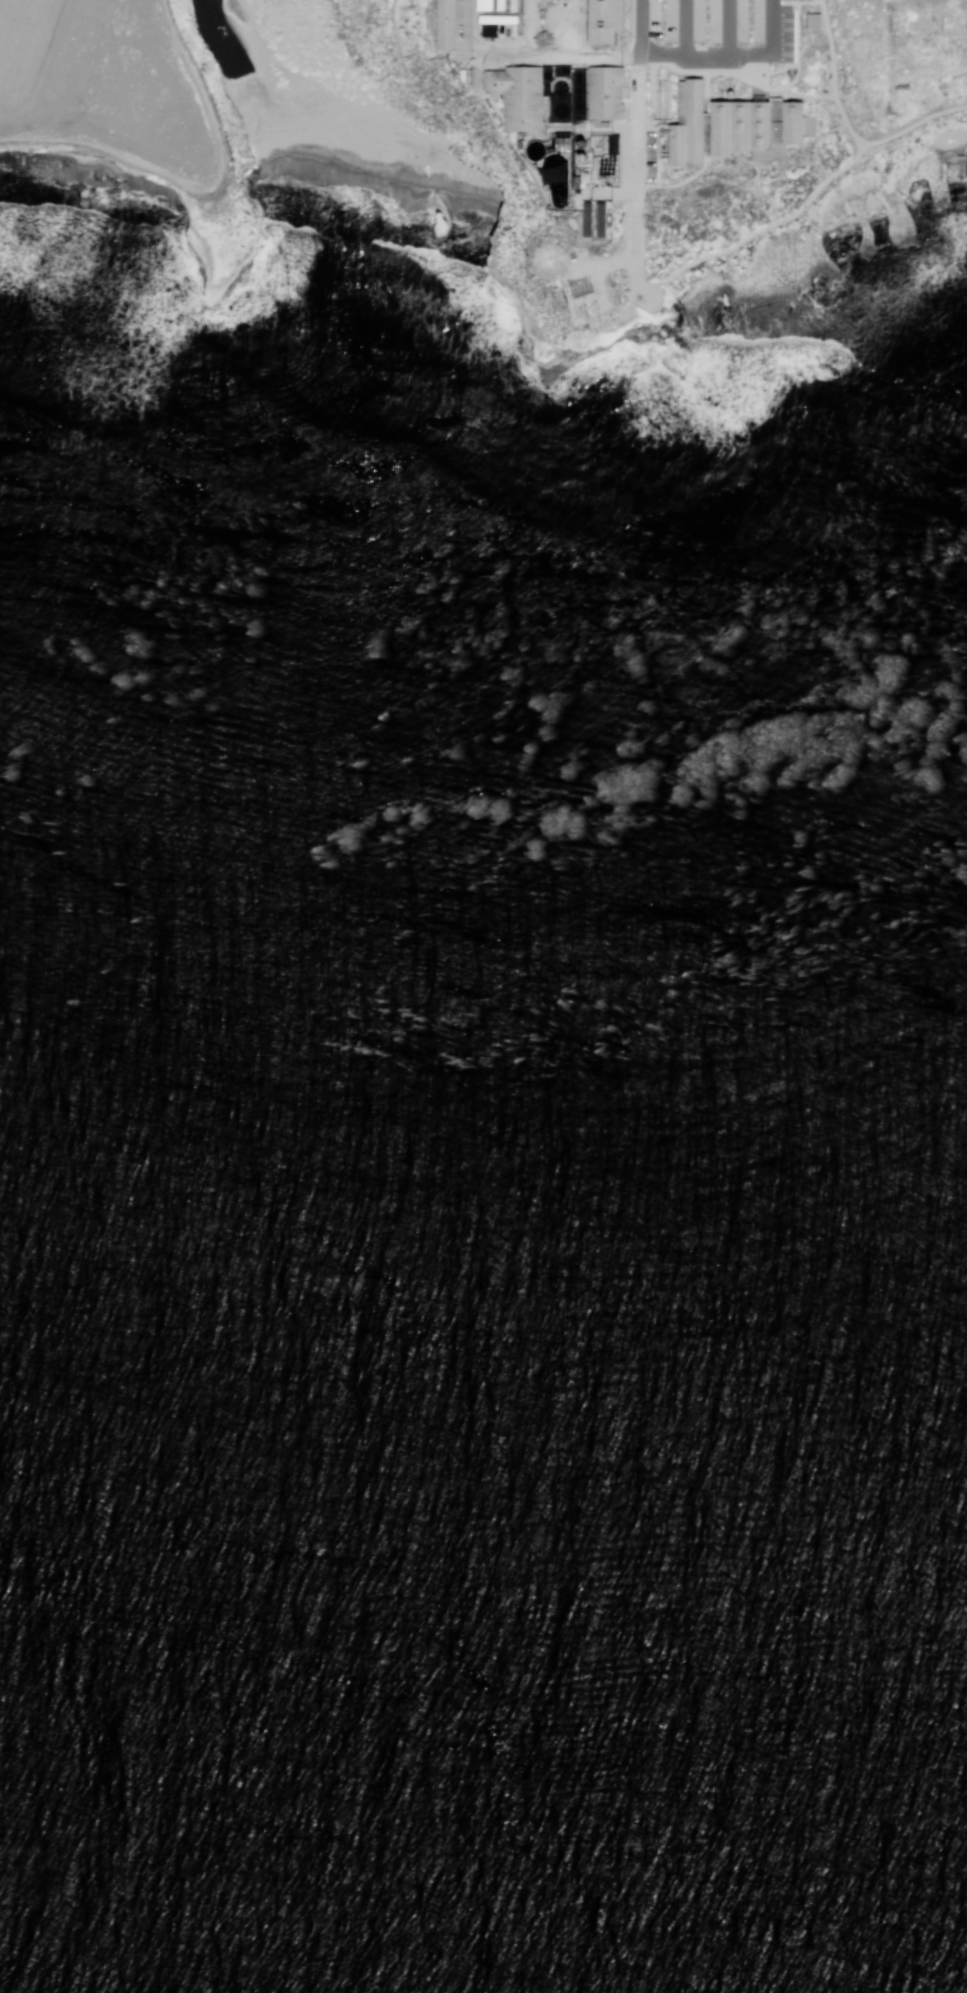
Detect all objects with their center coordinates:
road: (783, 2)
building: (482, 4)
building: (499, 4)
building: (512, 5)
building: (540, 9)
building: (496, 19)
building: (604, 20)
building: (812, 20)
building: (446, 23)
road: (640, 28)
road: (685, 28)
road: (729, 28)
parking lot: (718, 32)
road: (772, 46)
road: (529, 56)
road: (687, 56)
road: (769, 71)
building: (464, 75)
road: (833, 75)
road: (760, 86)
building: (604, 92)
road: (801, 95)
road: (821, 96)
building: (518, 97)
building: (557, 97)
crop: (100, 100)
building: (732, 124)
road: (129, 133)
building: (611, 144)
road: (784, 151)
building: (574, 155)
parking lot: (648, 156)
building: (551, 165)
road: (632, 176)
road: (677, 183)
road: (759, 192)
road: (511, 195)
road: (801, 208)
building: (585, 219)
building: (599, 219)
water tower: (549, 260)

